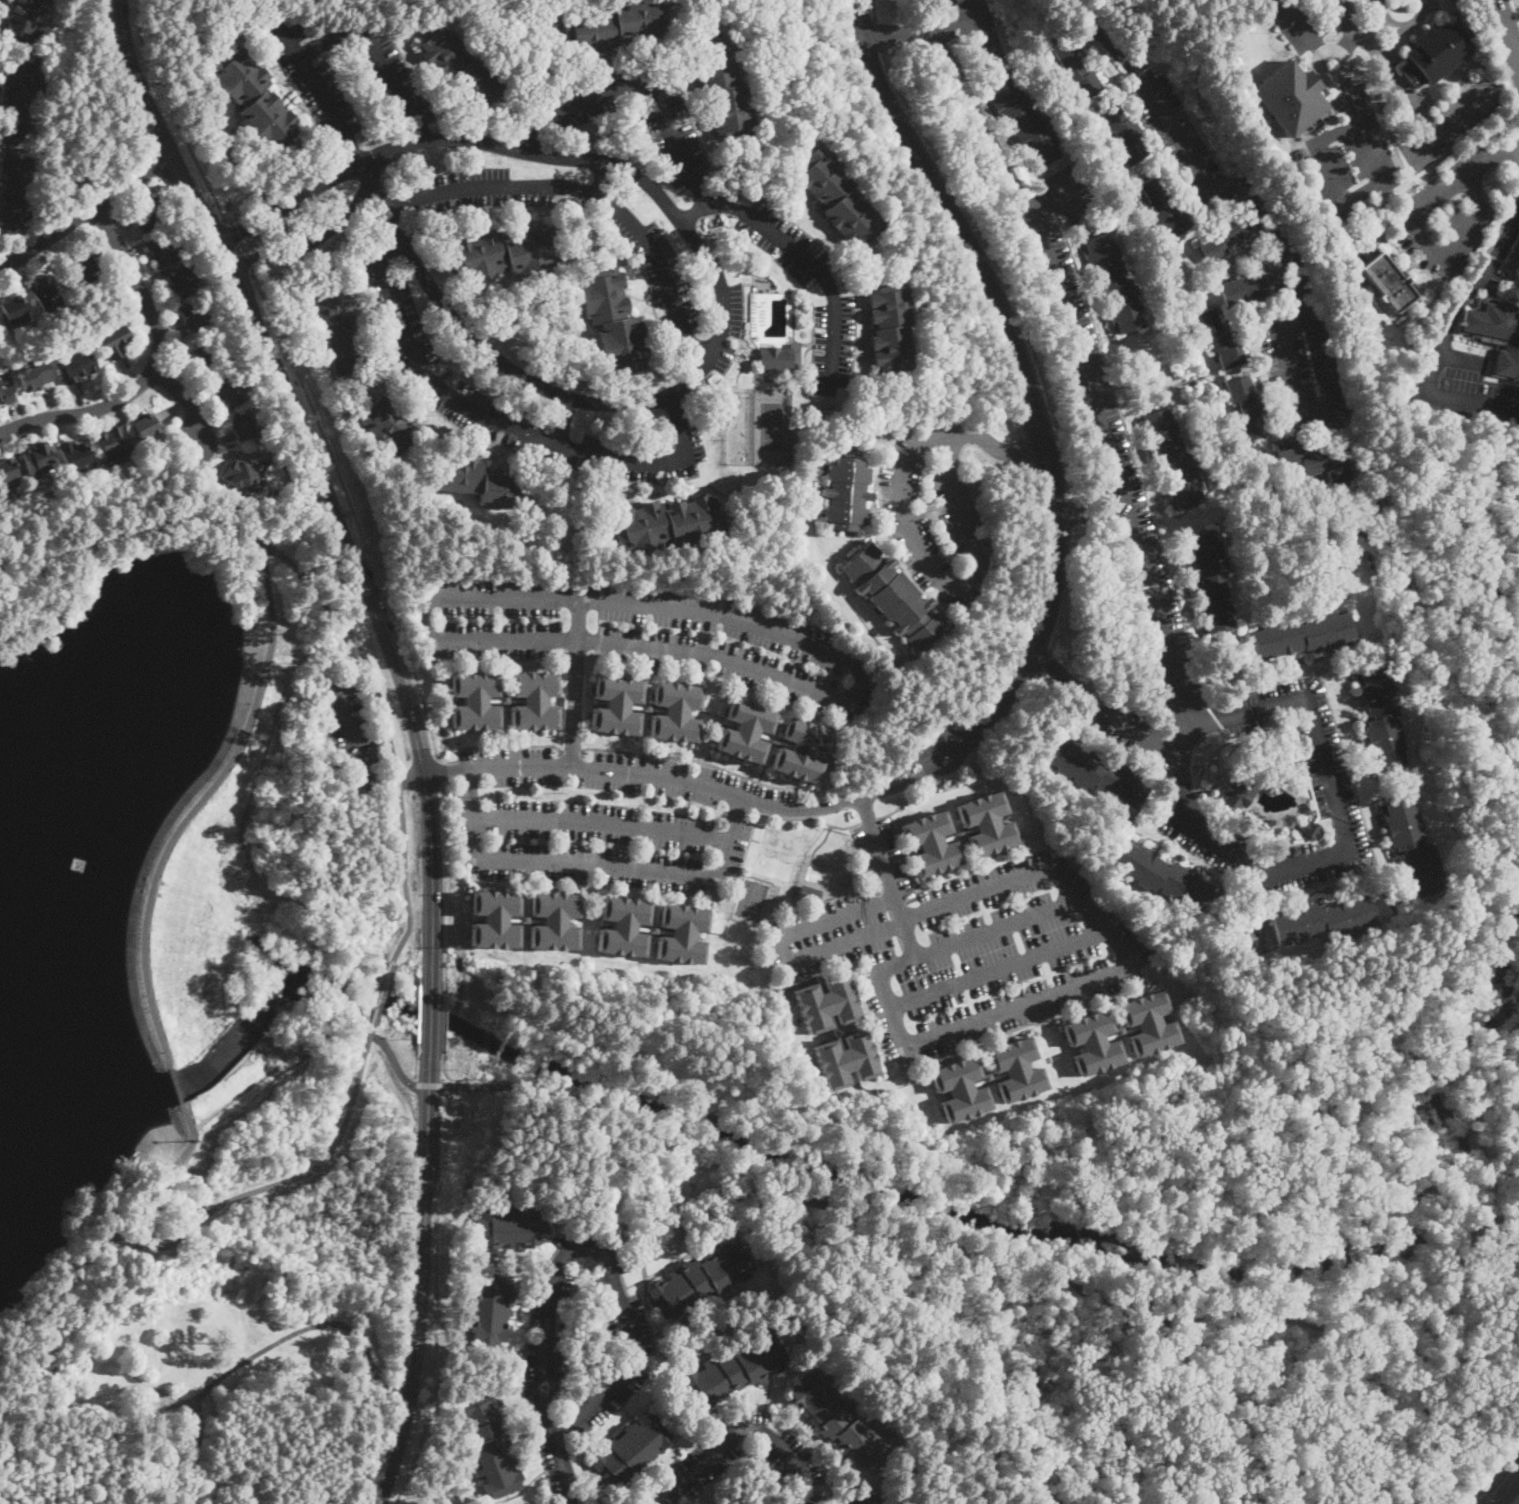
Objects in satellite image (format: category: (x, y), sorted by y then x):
building: (959, 1)
road: (1516, 7)
road: (874, 10)
building: (22, 19)
road: (973, 20)
parking lot: (1296, 22)
building: (614, 24)
road: (1300, 25)
road: (1371, 25)
road: (1402, 26)
road: (1508, 28)
parking lot: (979, 31)
road: (877, 33)
road: (1349, 41)
road: (375, 46)
building: (1435, 53)
road: (1518, 56)
road: (1518, 58)
road: (1387, 65)
building: (460, 67)
building: (1074, 68)
parking lot: (382, 69)
road: (1319, 73)
road: (313, 76)
parking lot: (309, 77)
building: (722, 87)
road: (641, 89)
building: (253, 97)
building: (1287, 98)
building: (18, 101)
parking lot: (1471, 105)
road: (171, 114)
building: (1022, 117)
road: (1450, 120)
parking lot: (672, 129)
road: (422, 130)
building: (1122, 132)
parking lot: (1181, 142)
road: (353, 149)
road: (1494, 154)
parking lot: (1350, 156)
road: (601, 177)
road: (1228, 186)
building: (13, 189)
parking lot: (495, 190)
road: (1362, 190)
road: (594, 191)
parking lot: (1066, 191)
building: (837, 198)
road: (288, 202)
road: (402, 203)
building: (1162, 206)
road: (87, 208)
parking lot: (1450, 212)
building: (149, 214)
road: (692, 215)
building: (1228, 236)
road: (312, 240)
road: (239, 248)
road: (1429, 249)
building: (165, 252)
building: (504, 252)
road: (394, 255)
road: (997, 265)
building: (82, 266)
road: (820, 272)
parking lot: (660, 275)
building: (1388, 282)
building: (1114, 283)
building: (182, 284)
building: (1251, 287)
building: (45, 293)
road: (1466, 298)
parking lot: (839, 303)
building: (15, 311)
building: (195, 315)
building: (613, 320)
parking lot: (722, 327)
building: (889, 327)
road: (741, 329)
building: (340, 331)
road: (1074, 331)
building: (1497, 331)
road: (733, 336)
road: (723, 337)
building: (1217, 338)
building: (115, 340)
parking lot: (1077, 345)
road: (748, 346)
road: (700, 348)
road: (743, 348)
parking lot: (413, 349)
building: (203, 354)
road: (1262, 355)
building: (781, 357)
road: (1276, 357)
road: (1462, 357)
road: (156, 363)
road: (746, 363)
road: (1291, 365)
building: (78, 366)
road: (703, 366)
parking lot: (1303, 368)
road: (738, 372)
road: (1257, 373)
building: (221, 374)
building: (34, 377)
road: (1189, 379)
parking lot: (1461, 387)
building: (228, 389)
road: (1103, 390)
building: (6, 394)
road: (1474, 398)
road: (188, 400)
road: (674, 405)
building: (1247, 407)
road: (563, 421)
building: (389, 423)
building: (245, 425)
park: (770, 425)
building: (814, 425)
building: (145, 426)
road: (513, 428)
building: (113, 442)
building: (75, 453)
parking lot: (643, 453)
road: (908, 455)
building: (1172, 458)
building: (38, 459)
building: (1311, 461)
building: (7, 470)
road: (319, 470)
building: (240, 475)
building: (480, 480)
road: (174, 487)
building: (846, 494)
parking lot: (933, 512)
road: (350, 513)
road: (355, 513)
road: (1093, 513)
road: (1075, 514)
road: (337, 518)
road: (965, 522)
building: (667, 523)
road: (298, 533)
building: (1210, 581)
road: (1068, 588)
building: (893, 595)
road: (583, 600)
road: (578, 620)
parking lot: (645, 634)
building: (1302, 635)
road: (1035, 639)
road: (356, 644)
road: (648, 648)
parking lot: (1155, 649)
road: (650, 656)
road: (336, 657)
road: (1327, 661)
road: (1046, 662)
road: (1290, 665)
road: (1198, 667)
road: (262, 674)
road: (1340, 677)
road: (789, 693)
building: (474, 700)
building: (504, 700)
building: (534, 701)
road: (1348, 704)
building: (616, 705)
road: (640, 706)
building: (646, 707)
road: (650, 707)
building: (675, 711)
building: (1382, 717)
parking lot: (350, 725)
road: (1312, 727)
building: (746, 730)
road: (768, 739)
building: (774, 739)
road: (779, 741)
road: (1355, 742)
road: (494, 745)
road: (569, 749)
building: (801, 750)
road: (694, 758)
road: (355, 761)
road: (970, 762)
parking lot: (1326, 770)
road: (439, 771)
building: (1099, 774)
road: (399, 782)
building: (1236, 795)
road: (1372, 807)
road: (795, 808)
park: (346, 813)
road: (774, 816)
road: (1346, 817)
road: (869, 818)
road: (602, 820)
parking lot: (601, 821)
road: (1325, 823)
building: (987, 824)
building: (1312, 831)
road: (1378, 834)
building: (959, 835)
road: (755, 839)
park: (780, 839)
road: (822, 840)
building: (931, 843)
building: (1413, 846)
road: (893, 856)
road: (593, 862)
park: (772, 865)
road: (449, 870)
building: (1162, 875)
road: (890, 876)
road: (405, 879)
road: (972, 883)
road: (919, 890)
road: (1336, 891)
building: (809, 894)
park: (752, 898)
road: (1093, 914)
building: (495, 919)
building: (523, 919)
road: (827, 920)
building: (1323, 920)
building: (554, 921)
dam: (208, 925)
building: (623, 926)
building: (652, 929)
building: (682, 934)
parking lot: (964, 946)
park: (173, 947)
road: (382, 992)
road: (885, 1001)
road: (445, 1003)
building: (827, 1003)
road: (431, 1005)
building: (1149, 1023)
road: (371, 1028)
building: (1120, 1032)
building: (837, 1033)
building: (240, 1035)
building: (1093, 1043)
road: (392, 1058)
building: (845, 1059)
road: (442, 1066)
building: (1016, 1069)
building: (988, 1078)
road: (428, 1084)
road: (176, 1086)
building: (960, 1089)
road: (1488, 1174)
road: (207, 1177)
road: (274, 1183)
road: (802, 1196)
building: (510, 1227)
road: (100, 1238)
road: (600, 1252)
road: (422, 1276)
building: (700, 1279)
building: (491, 1311)
road: (1416, 1311)
road: (1289, 1318)
road: (1158, 1319)
building: (106, 1367)
building: (734, 1369)
building: (839, 1419)
road: (747, 1429)
building: (490, 1444)
building: (630, 1448)
road: (563, 1467)
road: (1501, 1483)
building: (862, 1499)

